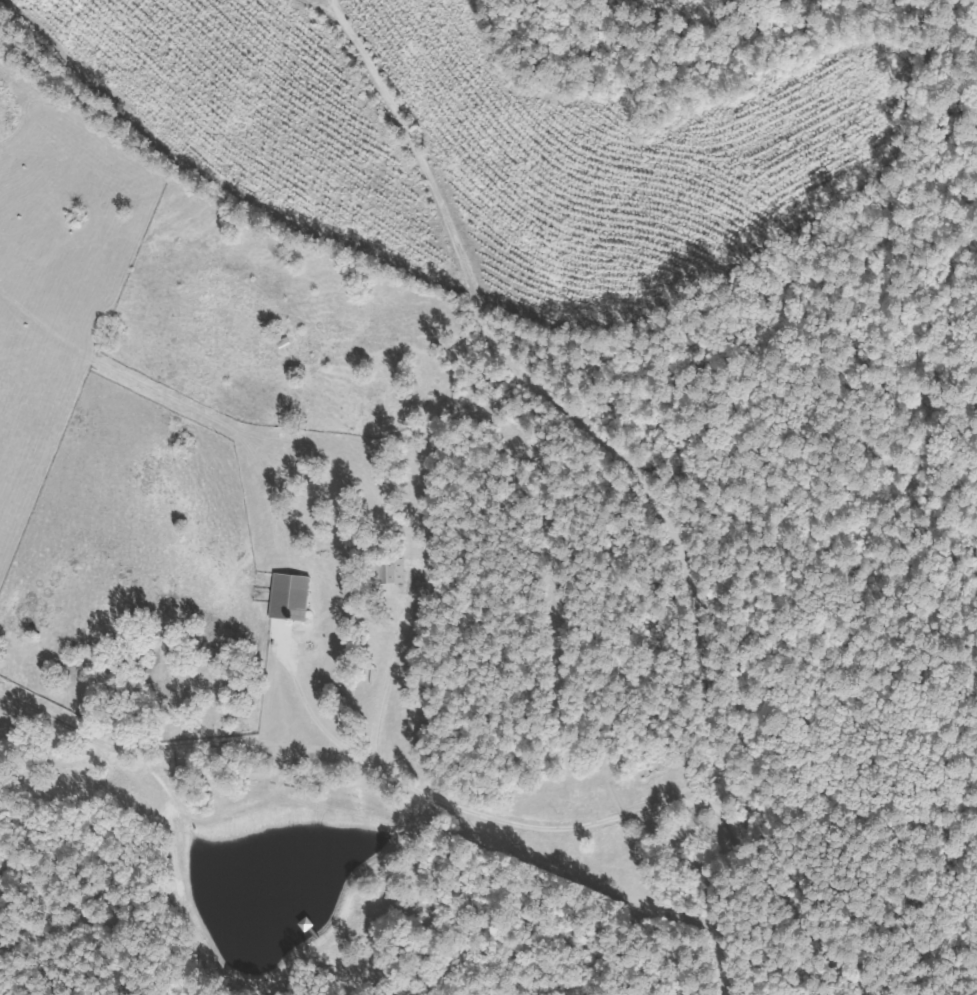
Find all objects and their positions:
building: (286, 596)

